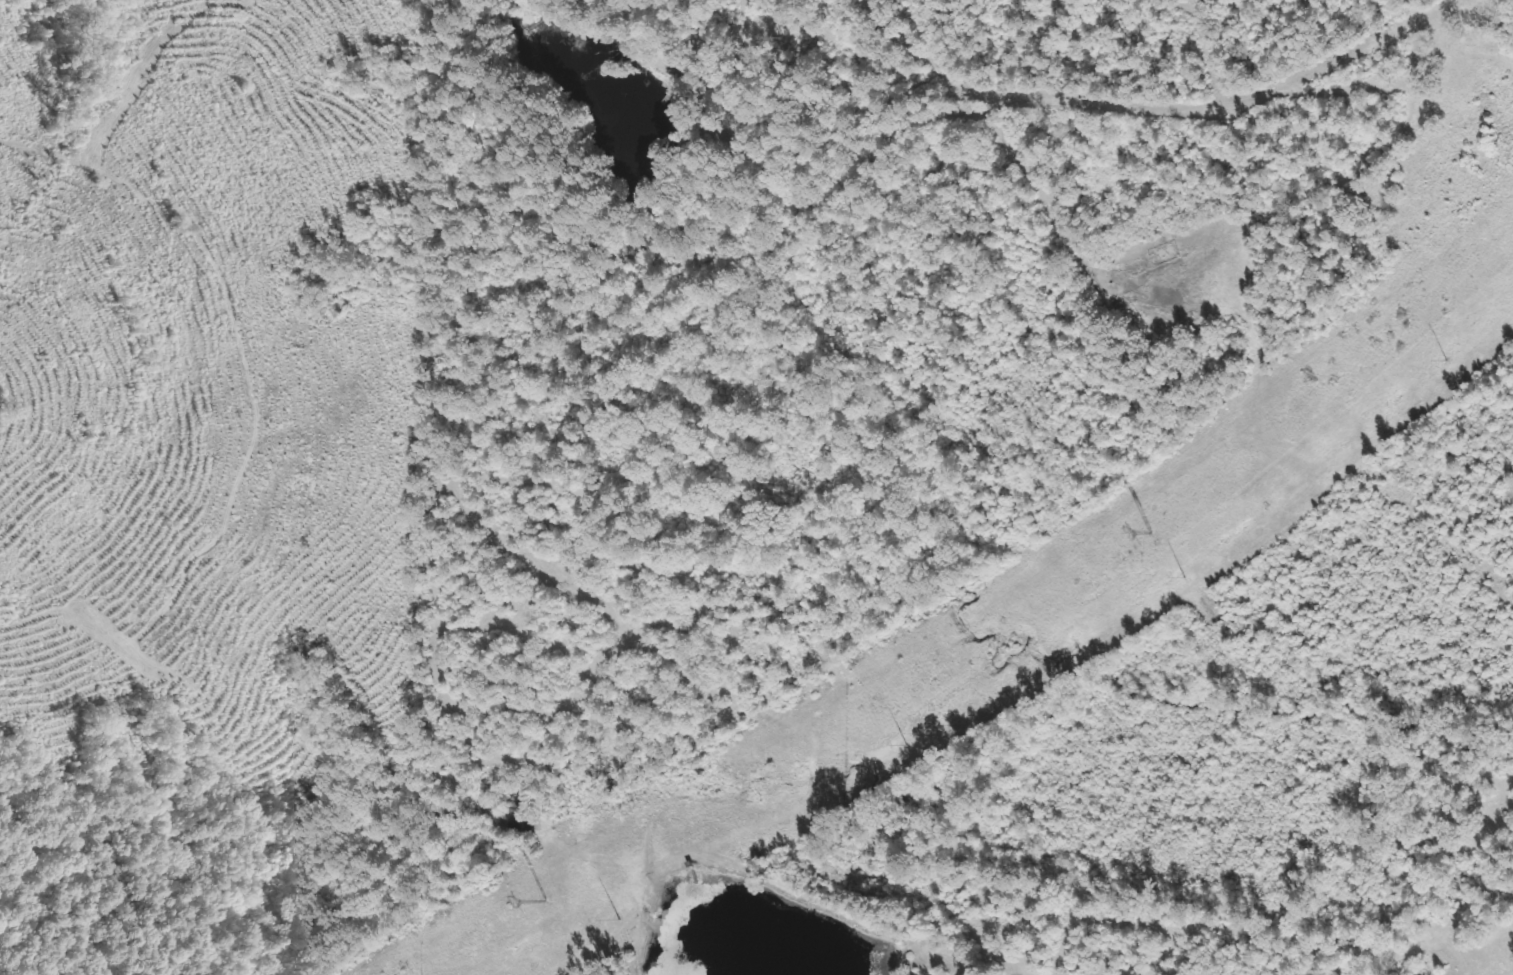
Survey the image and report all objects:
road: (1131, 114)
power tower: (1149, 533)
power tower: (546, 901)

